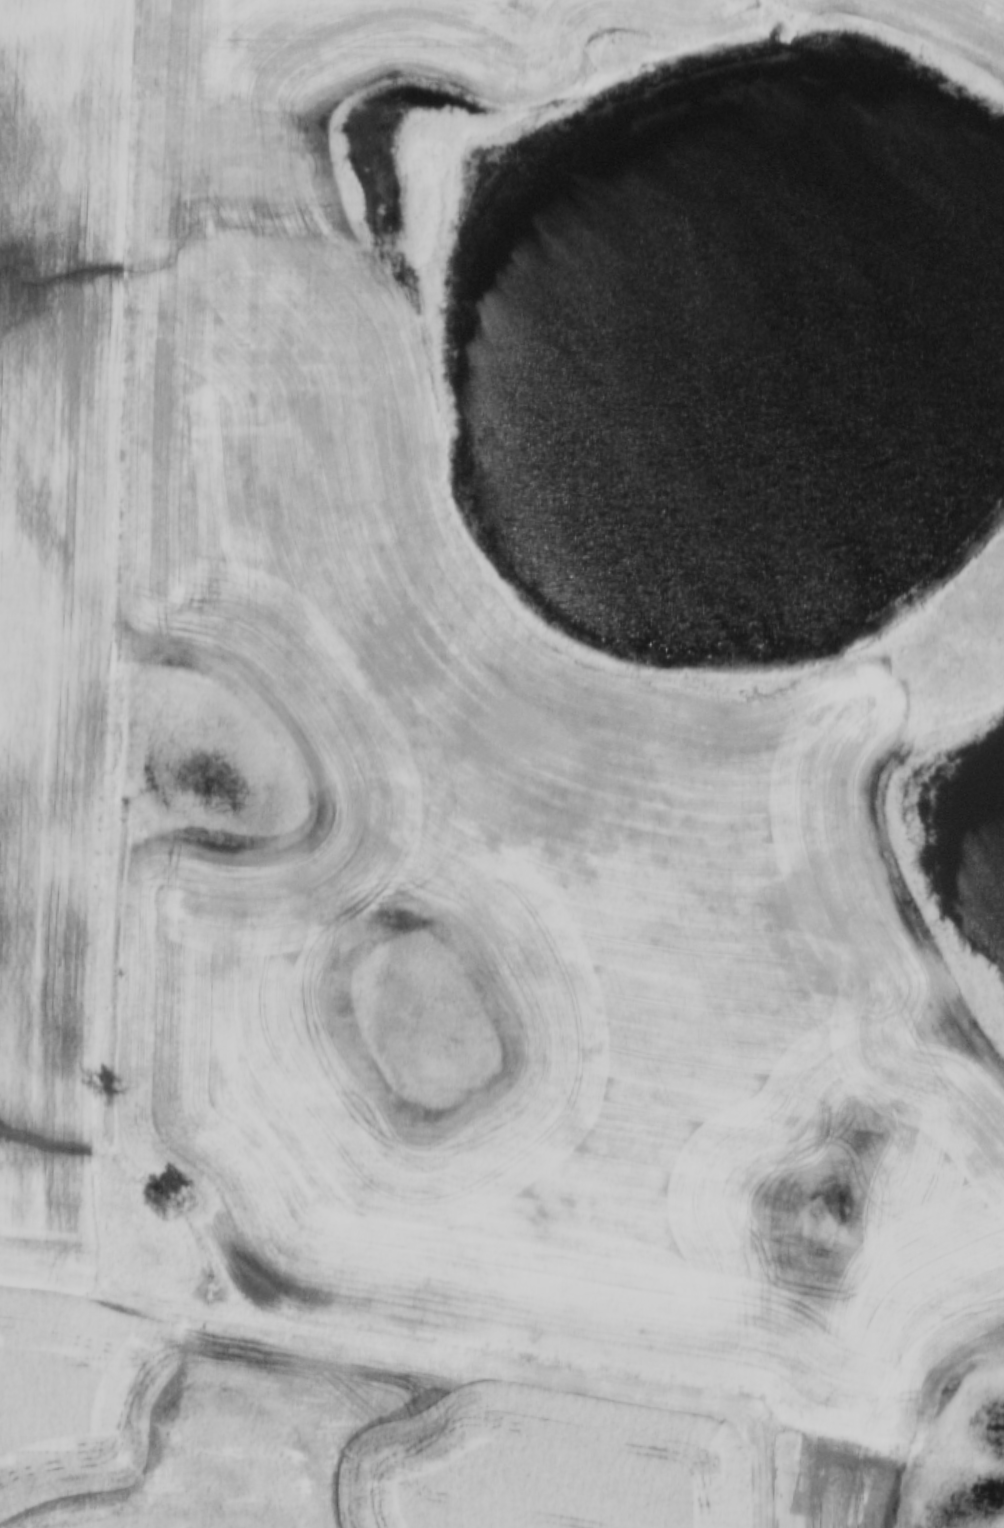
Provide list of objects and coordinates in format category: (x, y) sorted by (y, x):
road: (782, 1510)

